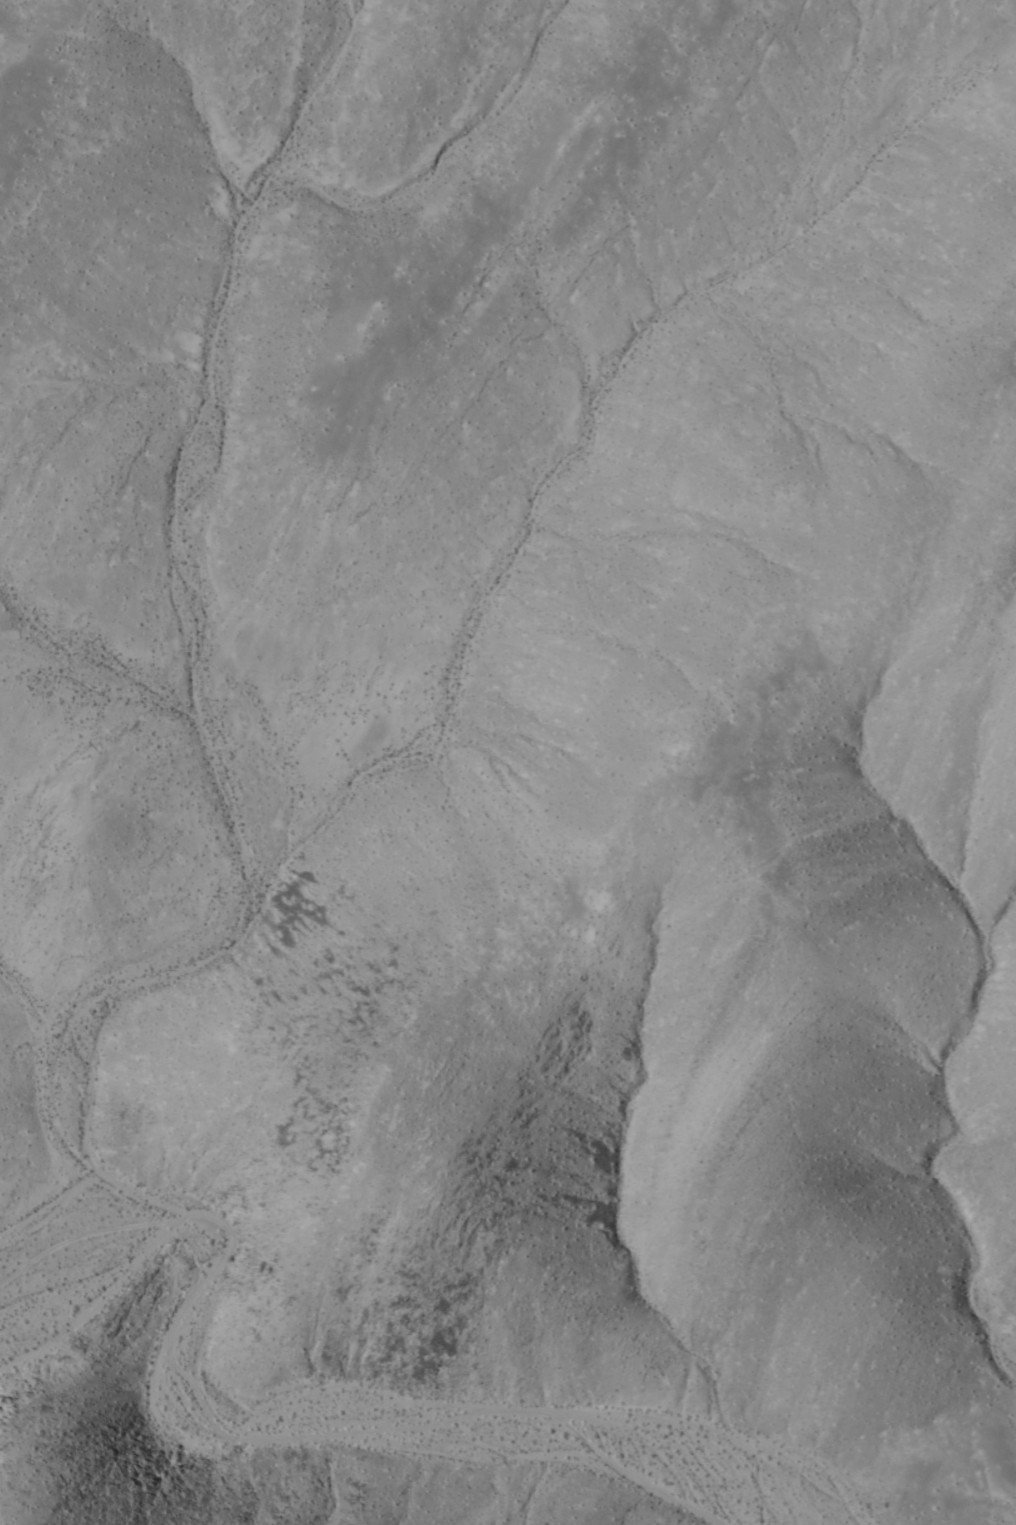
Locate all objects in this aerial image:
road: (250, 1433)

